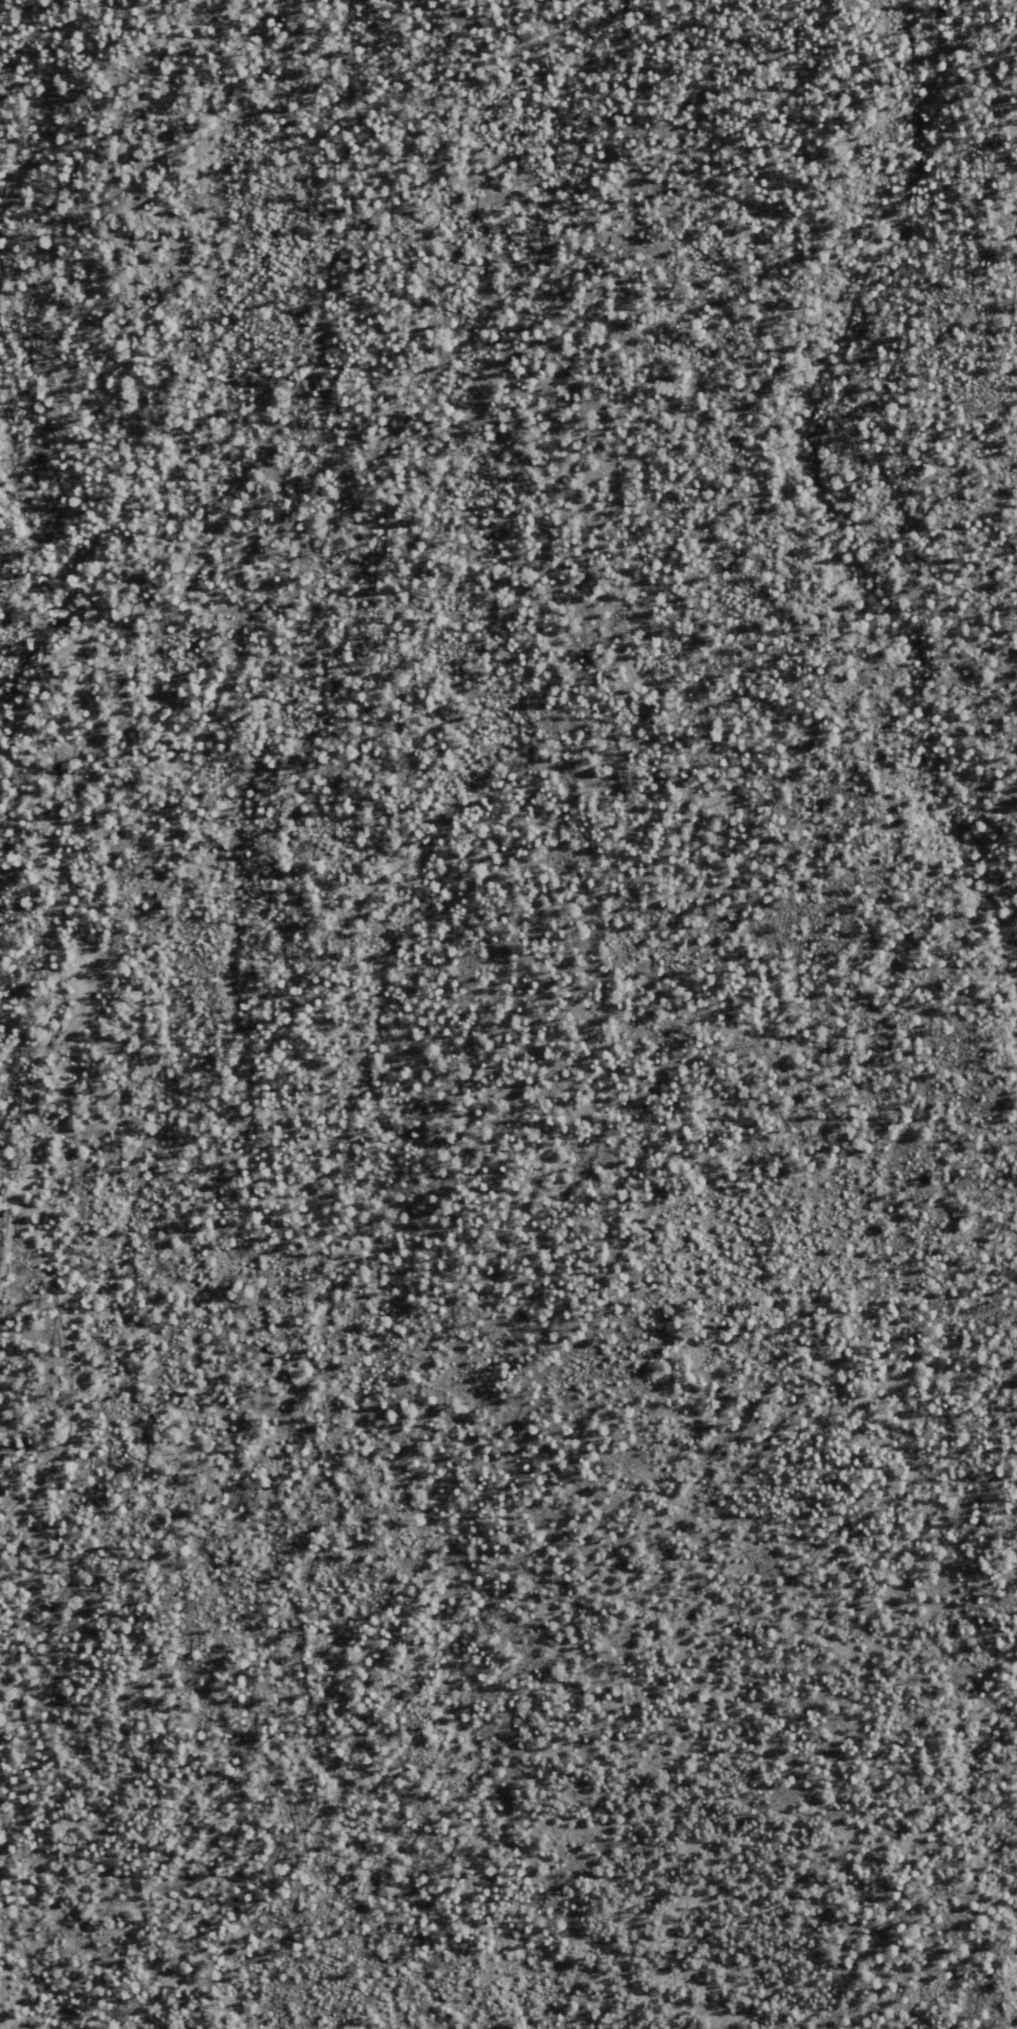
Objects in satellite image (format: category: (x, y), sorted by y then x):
road: (532, 470)

